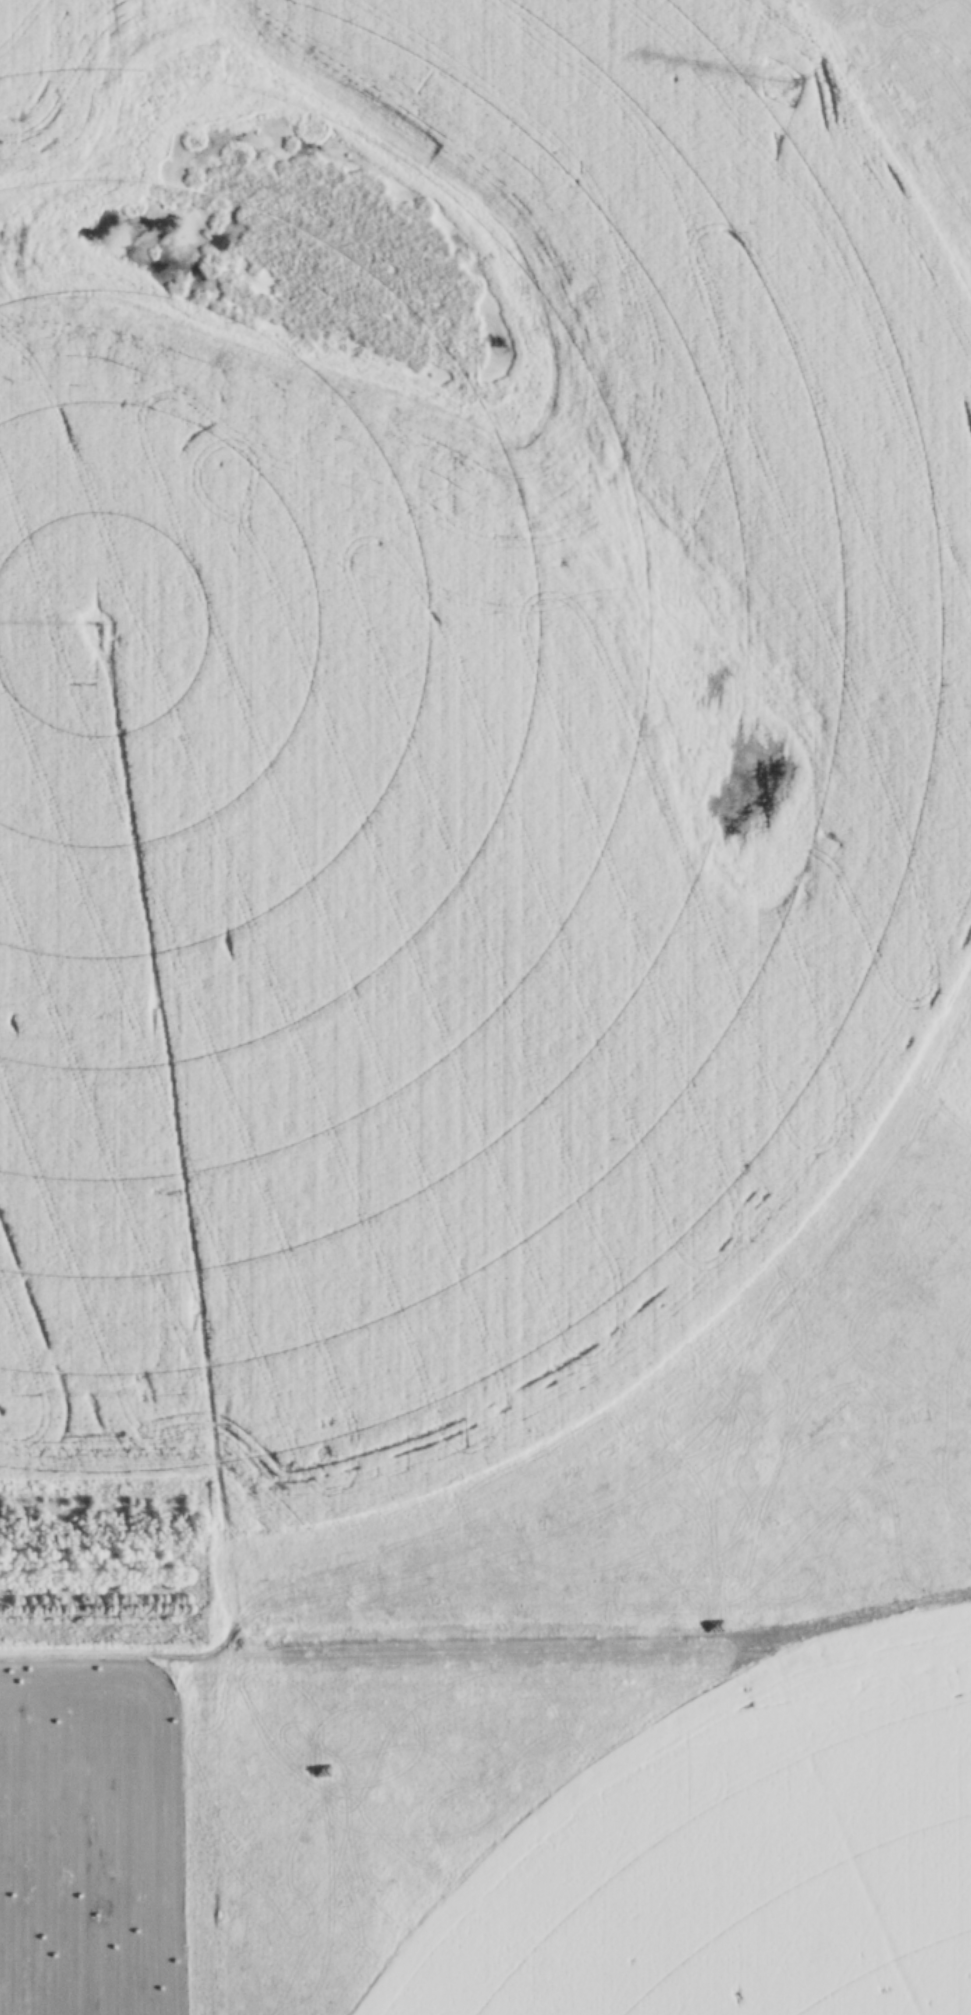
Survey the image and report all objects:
power tower: (777, 84)

